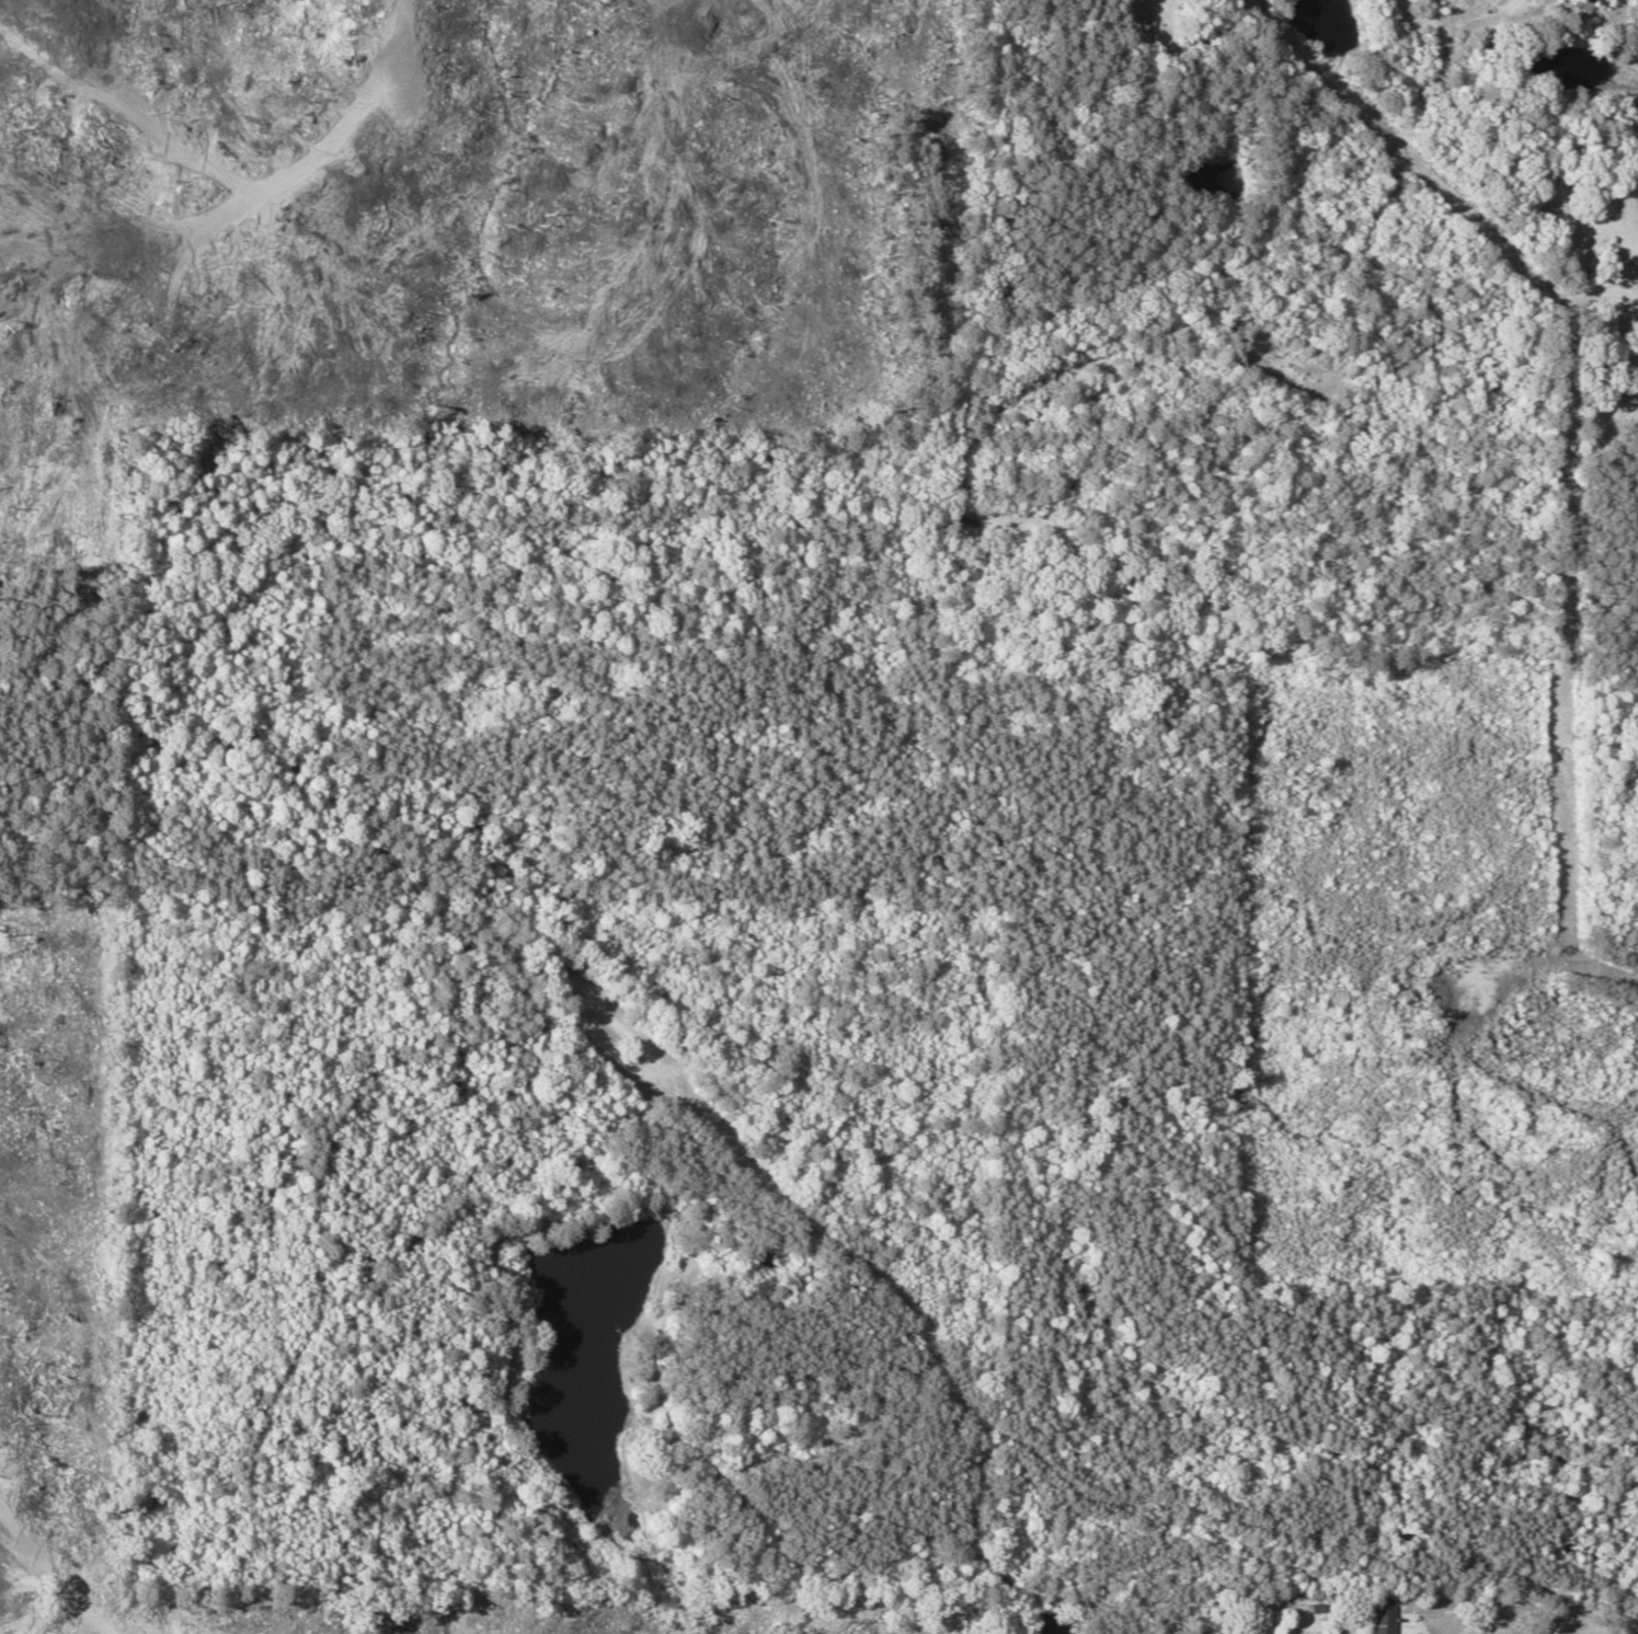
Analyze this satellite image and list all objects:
building: (1601, 1)
building: (1148, 23)
road: (953, 158)
building: (1385, 1619)

